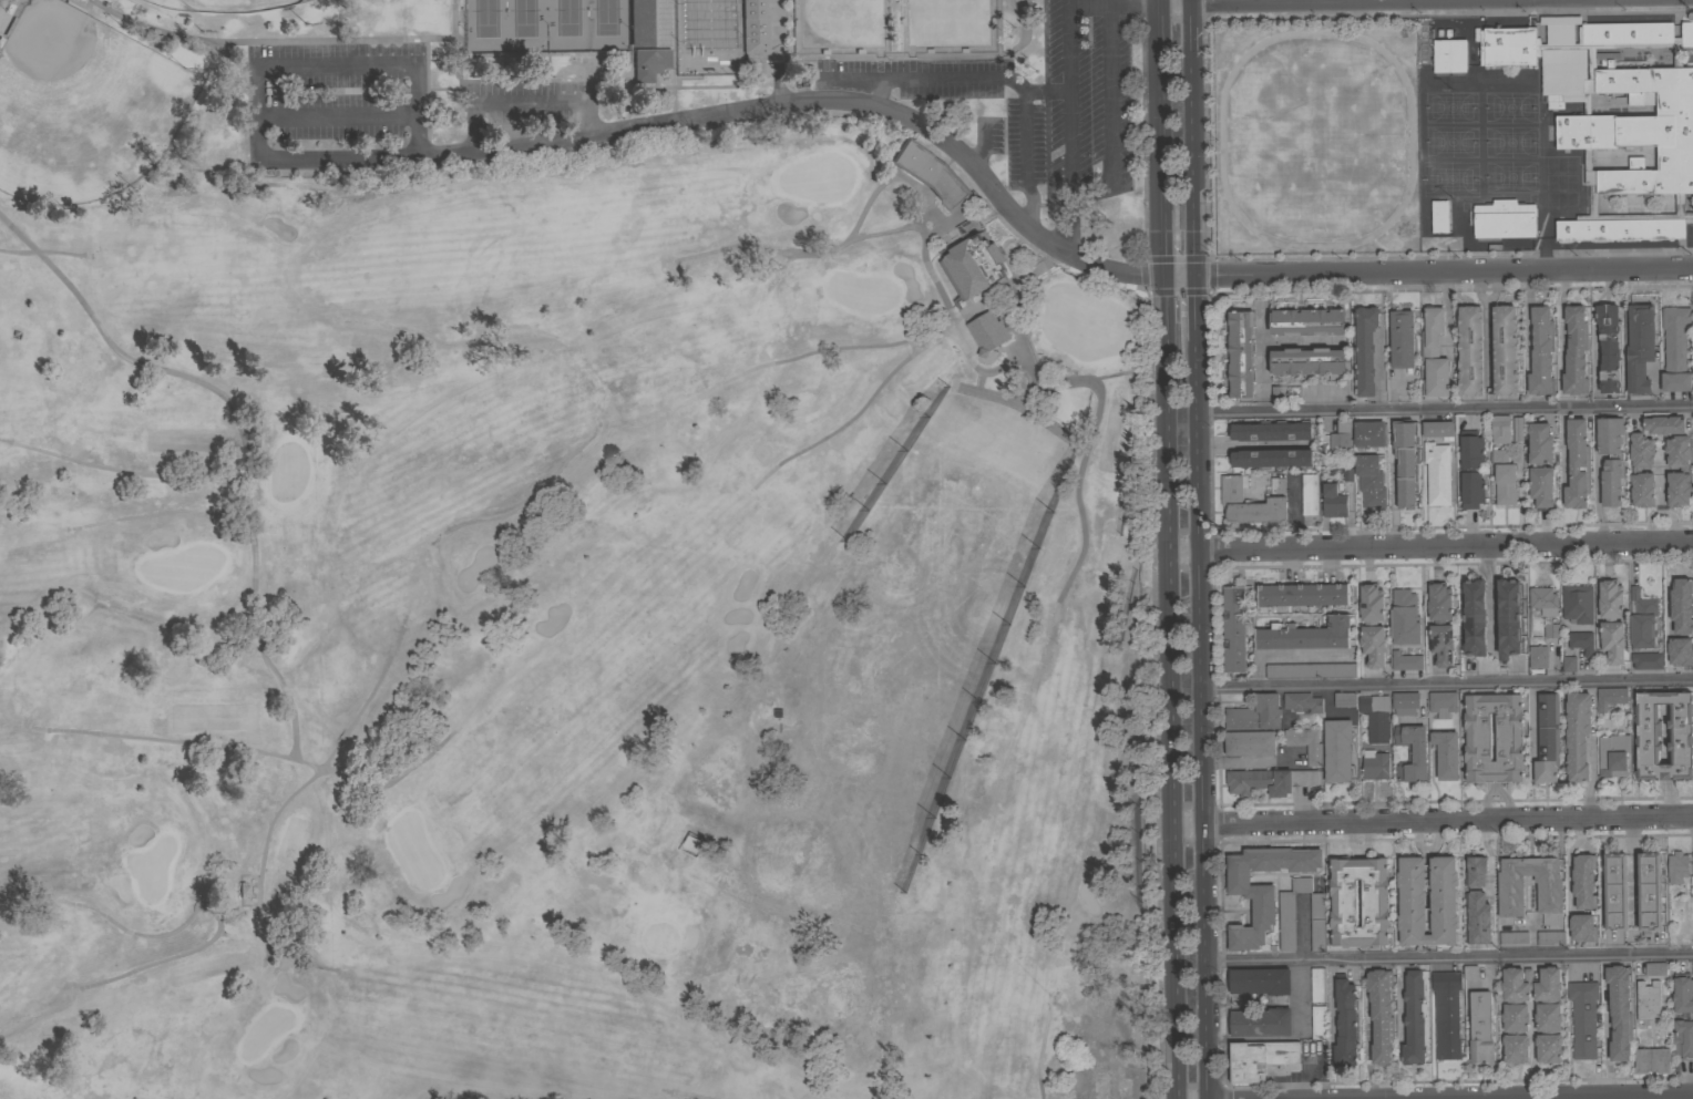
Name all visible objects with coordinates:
road: (1189, 1)
road: (1249, 1)
road: (1112, 2)
park: (222, 6)
building: (639, 23)
park: (544, 25)
building: (753, 27)
road: (147, 29)
road: (452, 30)
road: (1190, 31)
road: (1027, 32)
road: (439, 40)
road: (372, 41)
building: (1449, 55)
road: (228, 57)
road: (411, 63)
building: (648, 63)
road: (501, 69)
park: (402, 75)
road: (942, 79)
road: (618, 80)
road: (523, 101)
parking lot: (1032, 103)
parking lot: (334, 104)
park: (82, 106)
road: (1112, 114)
building: (1613, 117)
road: (1066, 126)
park: (1314, 137)
road: (1025, 142)
road: (335, 157)
building: (1608, 161)
building: (931, 174)
road: (864, 205)
building: (1439, 215)
building: (1504, 218)
road: (950, 223)
road: (1033, 229)
building: (1555, 230)
road: (41, 254)
building: (974, 265)
building: (1625, 318)
building: (1306, 322)
building: (987, 331)
building: (1692, 333)
building: (1402, 338)
building: (1609, 347)
building: (1640, 347)
building: (1675, 348)
road: (812, 350)
building: (1364, 350)
building: (1505, 350)
building: (1470, 351)
building: (1541, 351)
building: (1562, 351)
building: (1574, 351)
building: (1241, 352)
building: (1434, 353)
building: (1595, 357)
building: (1306, 361)
building: (1392, 361)
road: (1262, 362)
road: (978, 371)
road: (978, 381)
road: (1027, 394)
road: (1018, 404)
road: (1444, 409)
road: (854, 413)
building: (1662, 422)
building: (1438, 429)
building: (1500, 429)
building: (1518, 429)
building: (1272, 431)
building: (1369, 433)
road: (238, 434)
building: (1341, 438)
building: (1499, 455)
building: (1272, 458)
building: (1610, 459)
building: (1406, 463)
building: (1540, 463)
building: (1577, 464)
building: (1471, 469)
building: (1684, 469)
building: (1636, 470)
road: (124, 472)
building: (1437, 472)
building: (1371, 480)
building: (1505, 483)
building: (1278, 485)
building: (1394, 487)
building: (1530, 487)
building: (1601, 491)
road: (1660, 492)
building: (1309, 493)
building: (1333, 501)
building: (1249, 503)
road: (1659, 507)
road: (163, 513)
road: (1429, 545)
road: (1166, 549)
road: (1199, 578)
road: (1491, 592)
building: (1302, 594)
building: (1543, 599)
building: (1578, 603)
building: (1359, 605)
building: (1670, 607)
building: (1405, 617)
building: (1475, 617)
building: (1508, 617)
building: (1642, 619)
building: (1611, 620)
building: (1440, 623)
building: (1372, 624)
building: (1223, 625)
building: (1234, 628)
building: (1551, 630)
building: (1305, 634)
park: (574, 636)
building: (1630, 636)
building: (1581, 641)
building: (1446, 644)
building: (1362, 647)
building: (1538, 656)
building: (1406, 660)
building: (1646, 660)
building: (1569, 664)
building: (1222, 665)
building: (1311, 670)
road: (1447, 686)
building: (1610, 697)
building: (1345, 699)
building: (1302, 701)
building: (1405, 702)
building: (1443, 702)
building: (1255, 713)
building: (1375, 717)
building: (1577, 733)
building: (1646, 736)
building: (1478, 737)
building: (1547, 738)
building: (1250, 742)
building: (1305, 743)
building: (1337, 749)
road: (258, 752)
building: (1412, 752)
building: (1446, 753)
building: (1613, 754)
building: (1435, 756)
building: (1375, 764)
building: (1269, 780)
road: (273, 818)
road: (1432, 820)
building: (691, 843)
building: (1676, 866)
road: (1632, 867)
building: (1476, 870)
building: (1578, 883)
building: (1262, 887)
building: (1615, 891)
building: (1649, 893)
building: (1510, 897)
building: (1413, 900)
building: (1344, 903)
road: (211, 911)
building: (1304, 915)
building: (1317, 921)
building: (1600, 922)
building: (1581, 929)
building: (1479, 931)
building: (1550, 937)
building: (1514, 938)
road: (1449, 959)
building: (1655, 968)
building: (1470, 972)
building: (1260, 980)
building: (1317, 984)
road: (1399, 999)
building: (1648, 1002)
building: (1620, 1010)
building: (1379, 1014)
building: (1446, 1014)
building: (1690, 1016)
building: (1415, 1017)
building: (1516, 1017)
building: (1582, 1018)
building: (1317, 1020)
building: (1261, 1021)
building: (1345, 1021)
building: (1480, 1027)
road: (1605, 1046)
road: (1038, 1055)
building: (1607, 1055)
building: (1262, 1059)
building: (1652, 1060)
road: (690, 1095)

